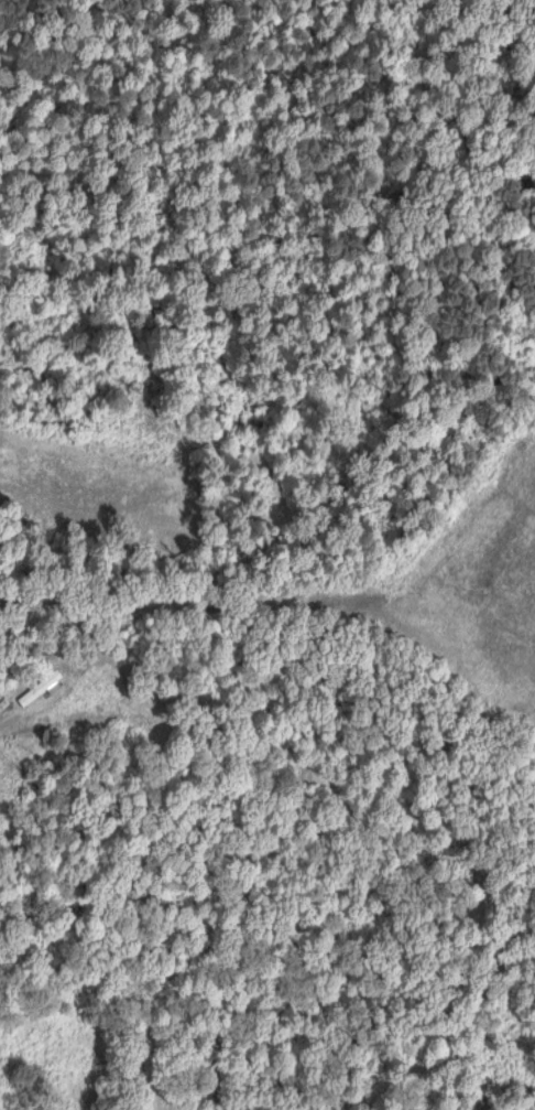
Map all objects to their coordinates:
building: (42, 688)
road: (4, 733)

